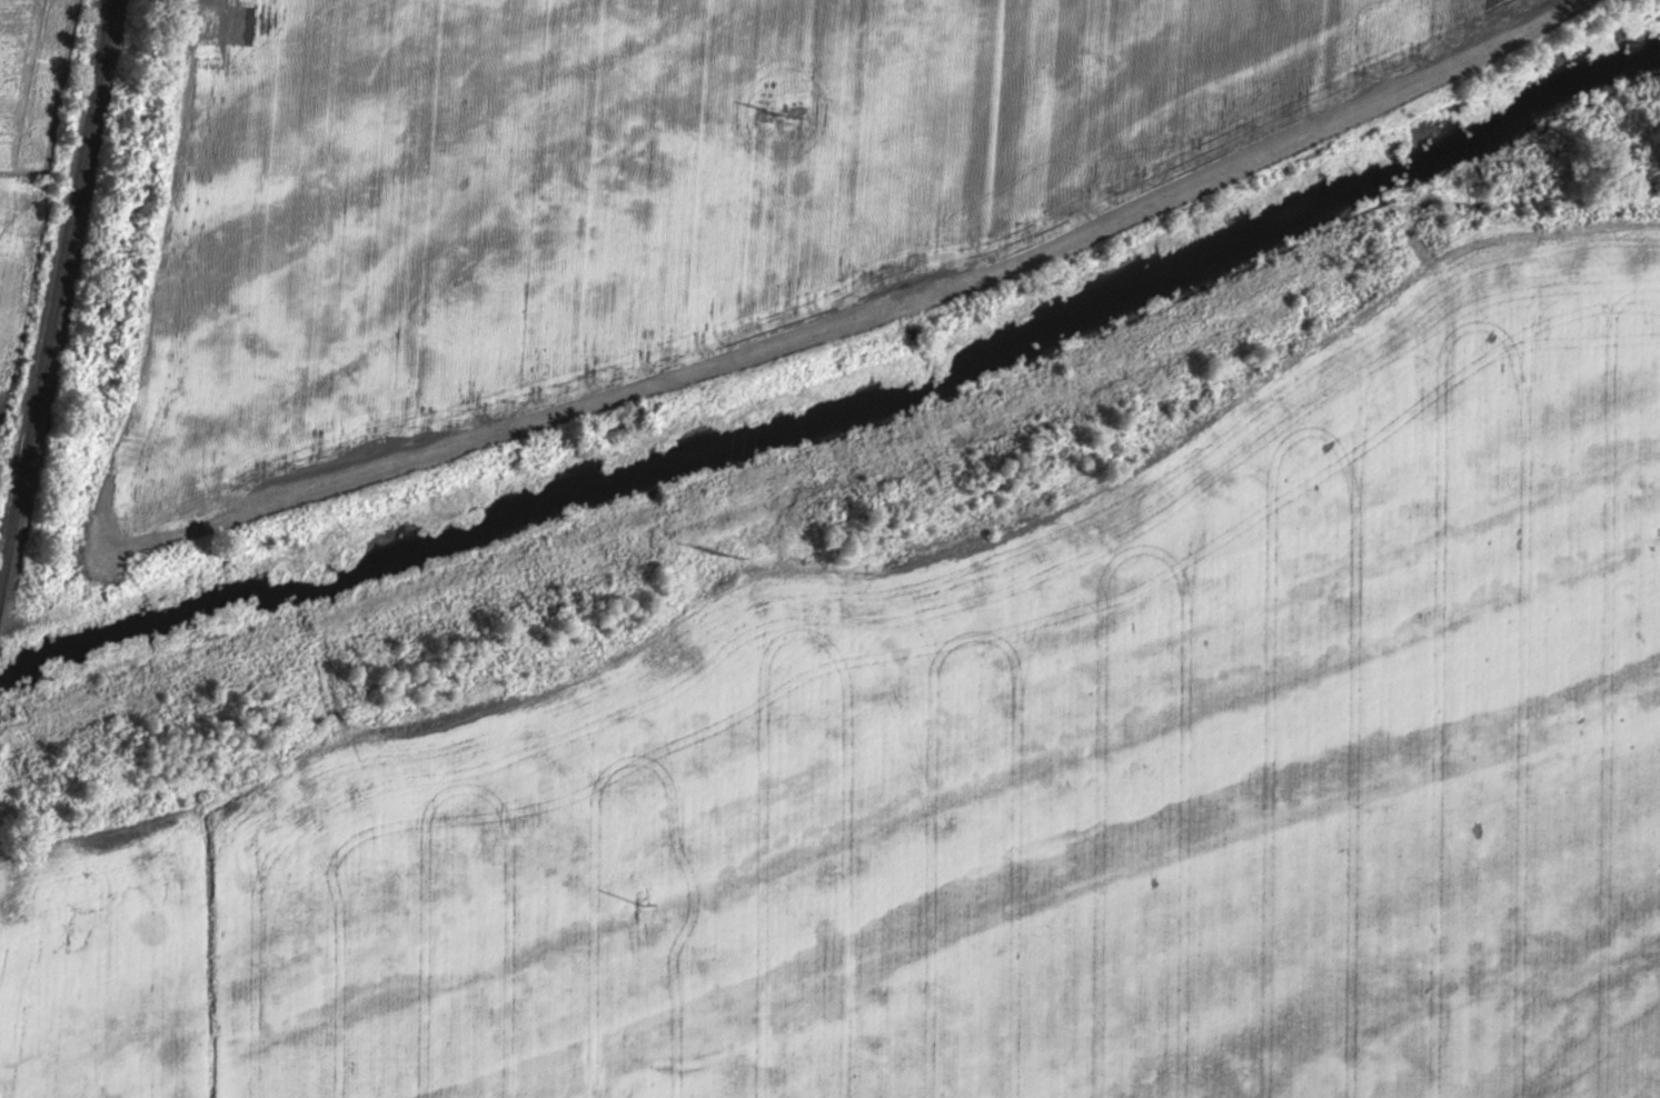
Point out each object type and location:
railway: (58, 296)
railway: (1, 597)

